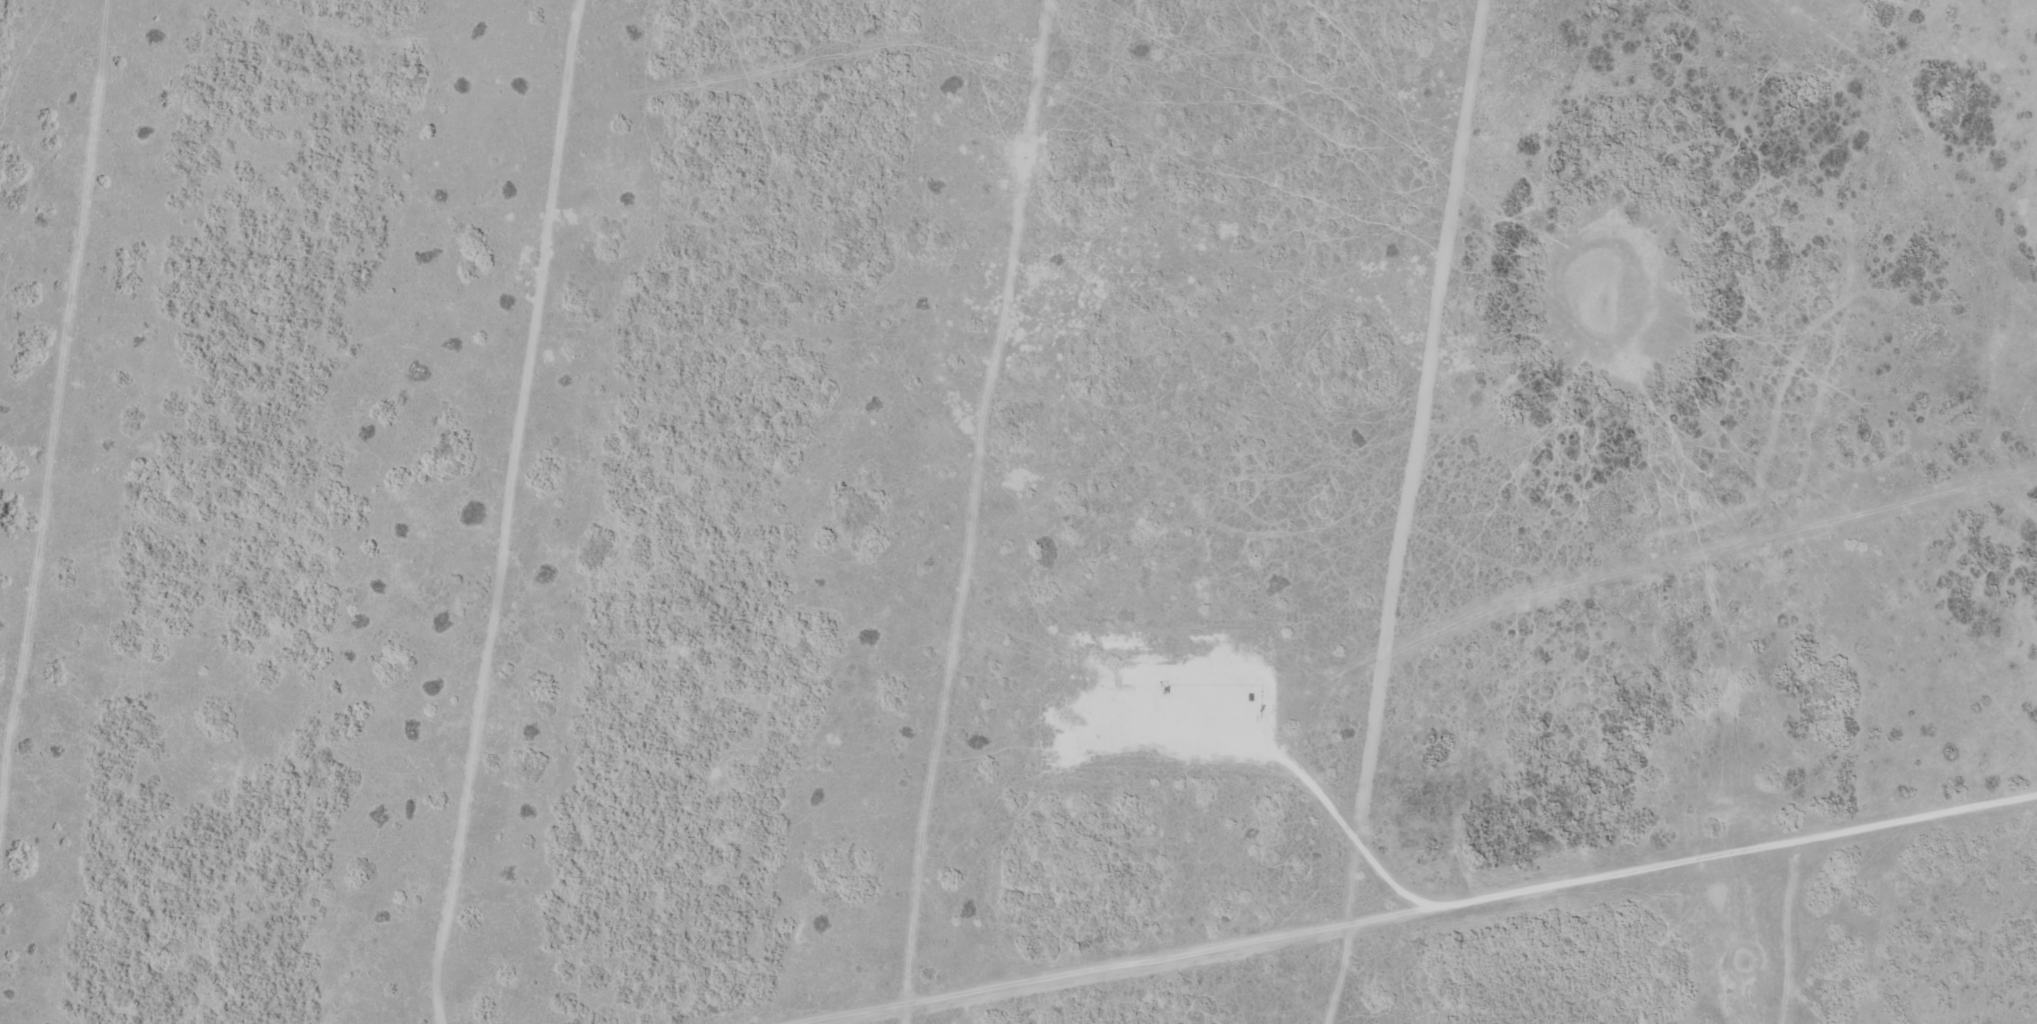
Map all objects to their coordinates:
road: (1293, 801)
road: (1717, 870)

